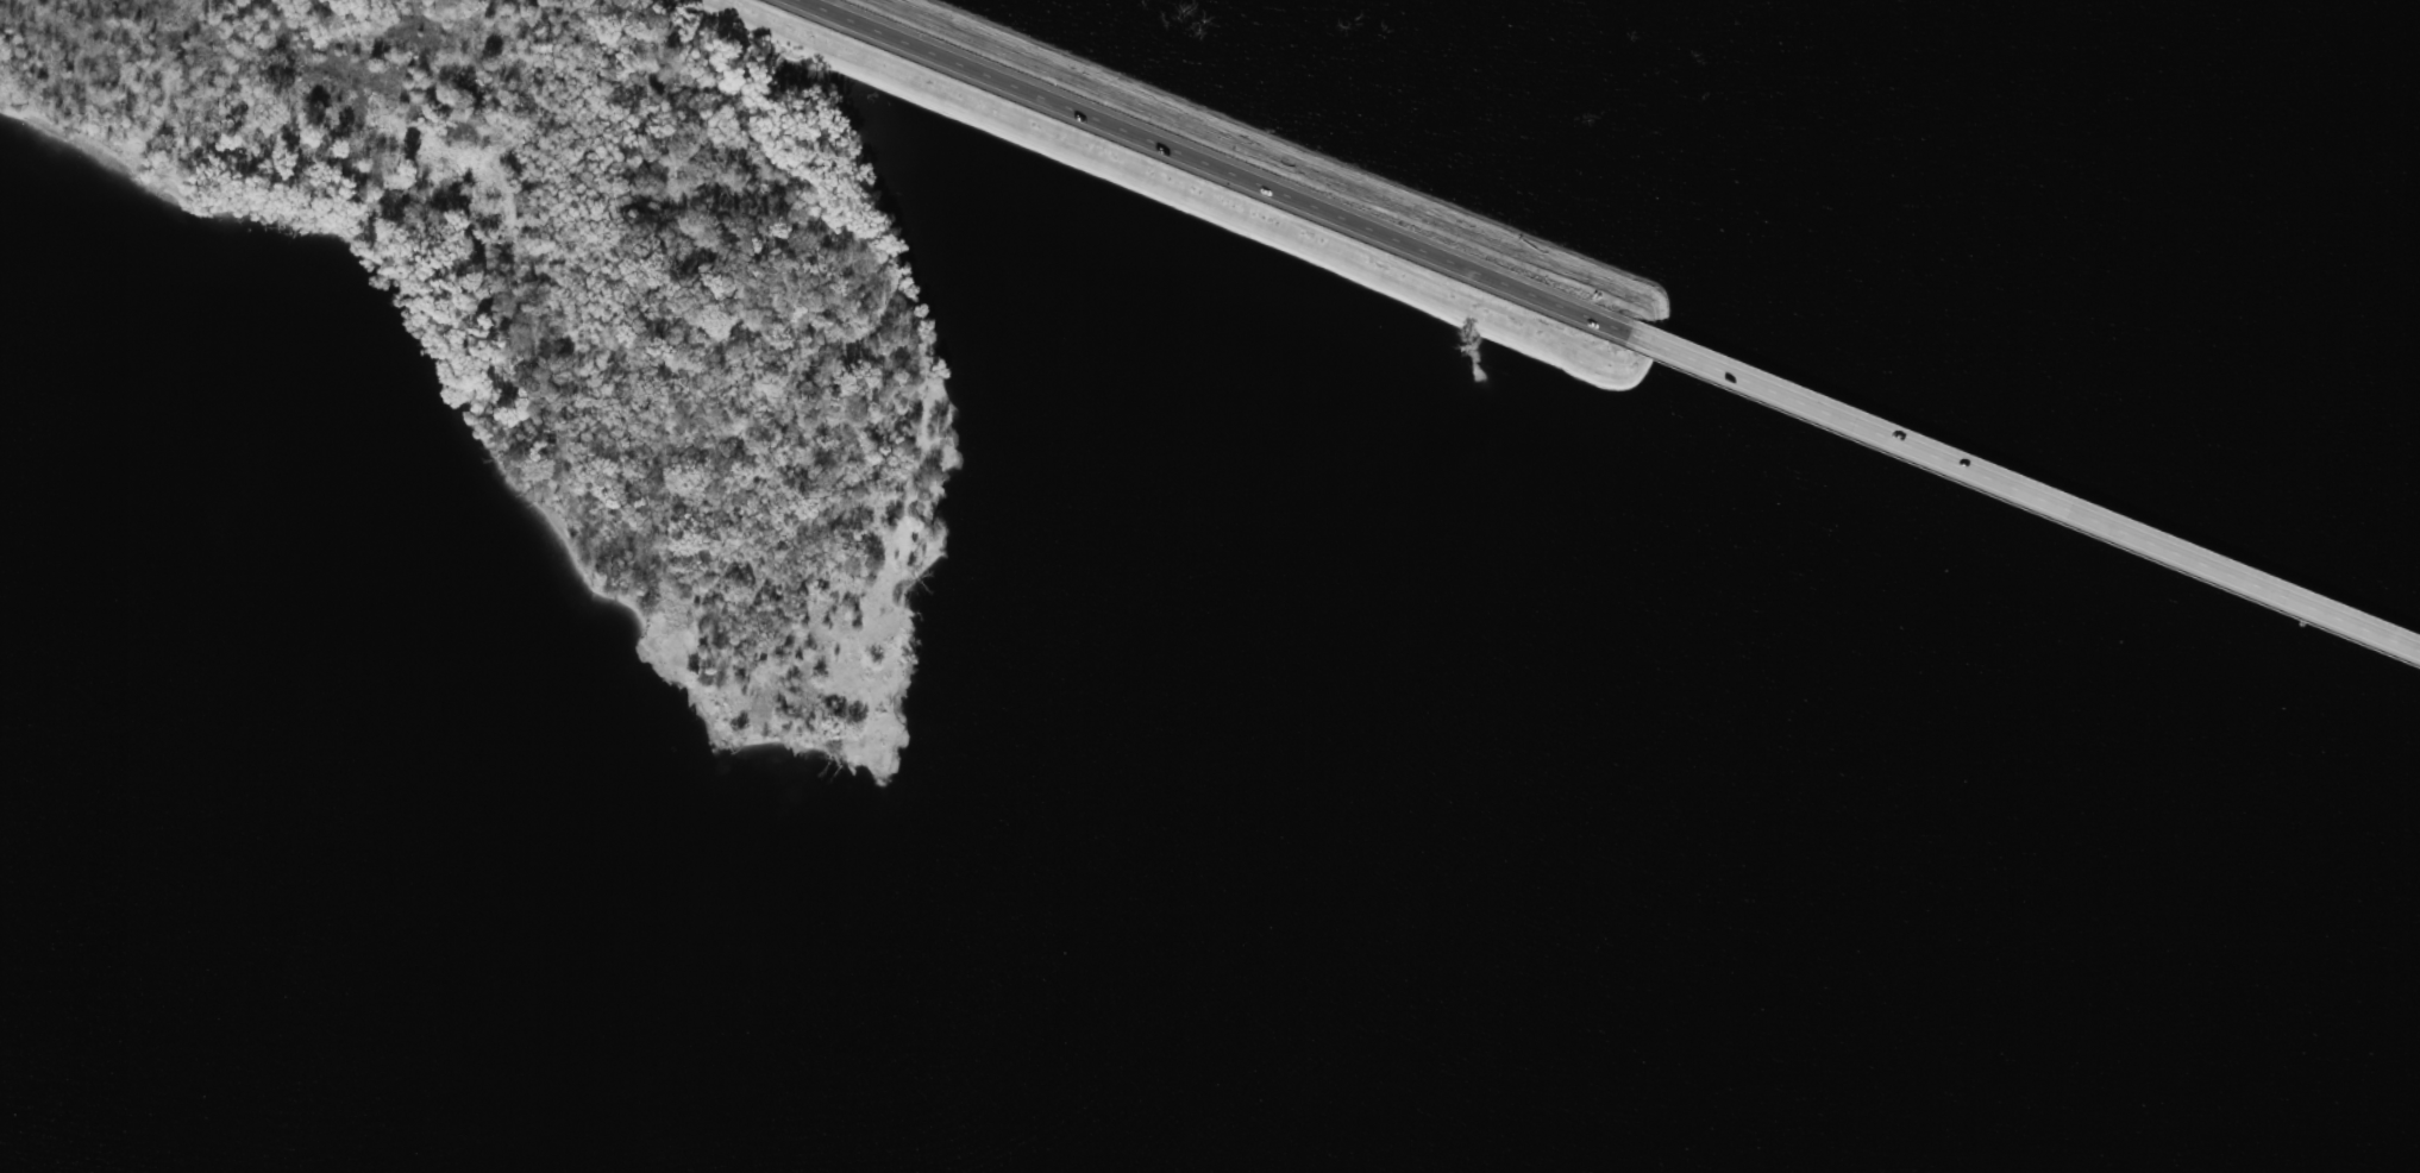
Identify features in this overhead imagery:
road: (1215, 167)
road: (2025, 494)
river: (2351, 939)

